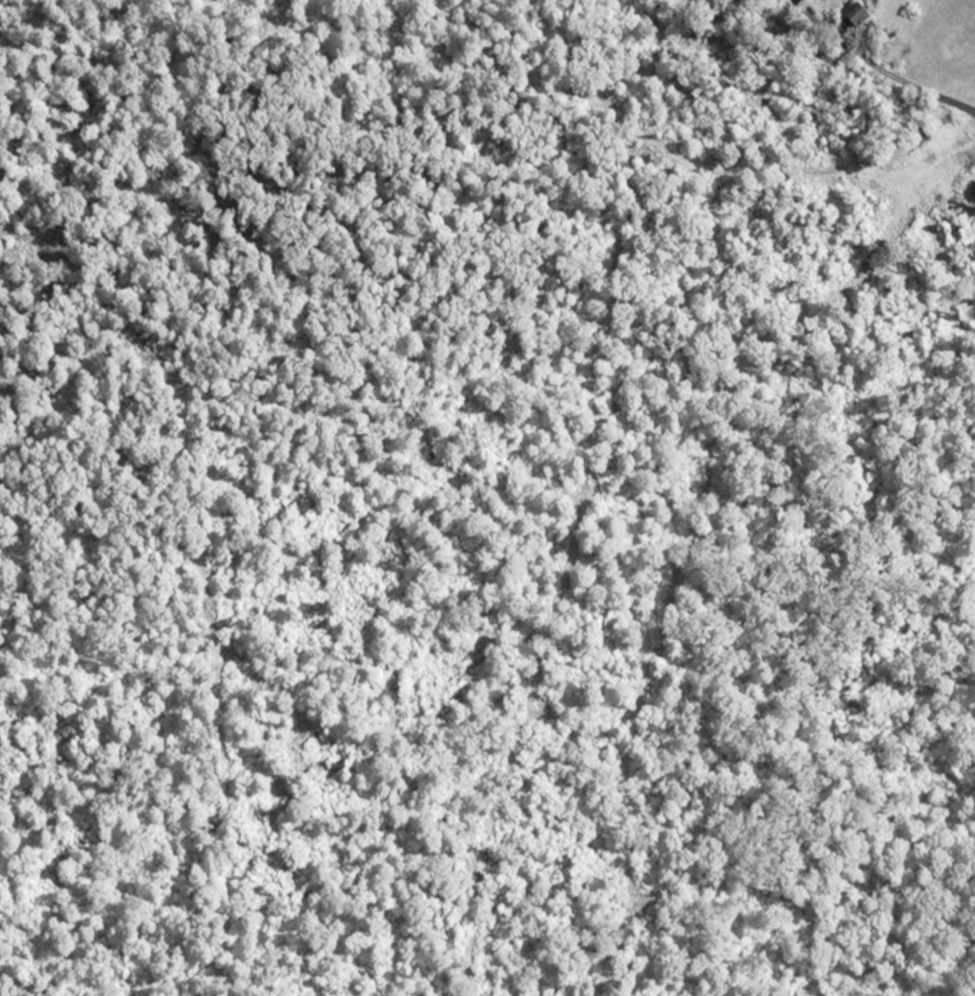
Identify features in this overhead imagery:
building: (852, 24)
road: (870, 63)

